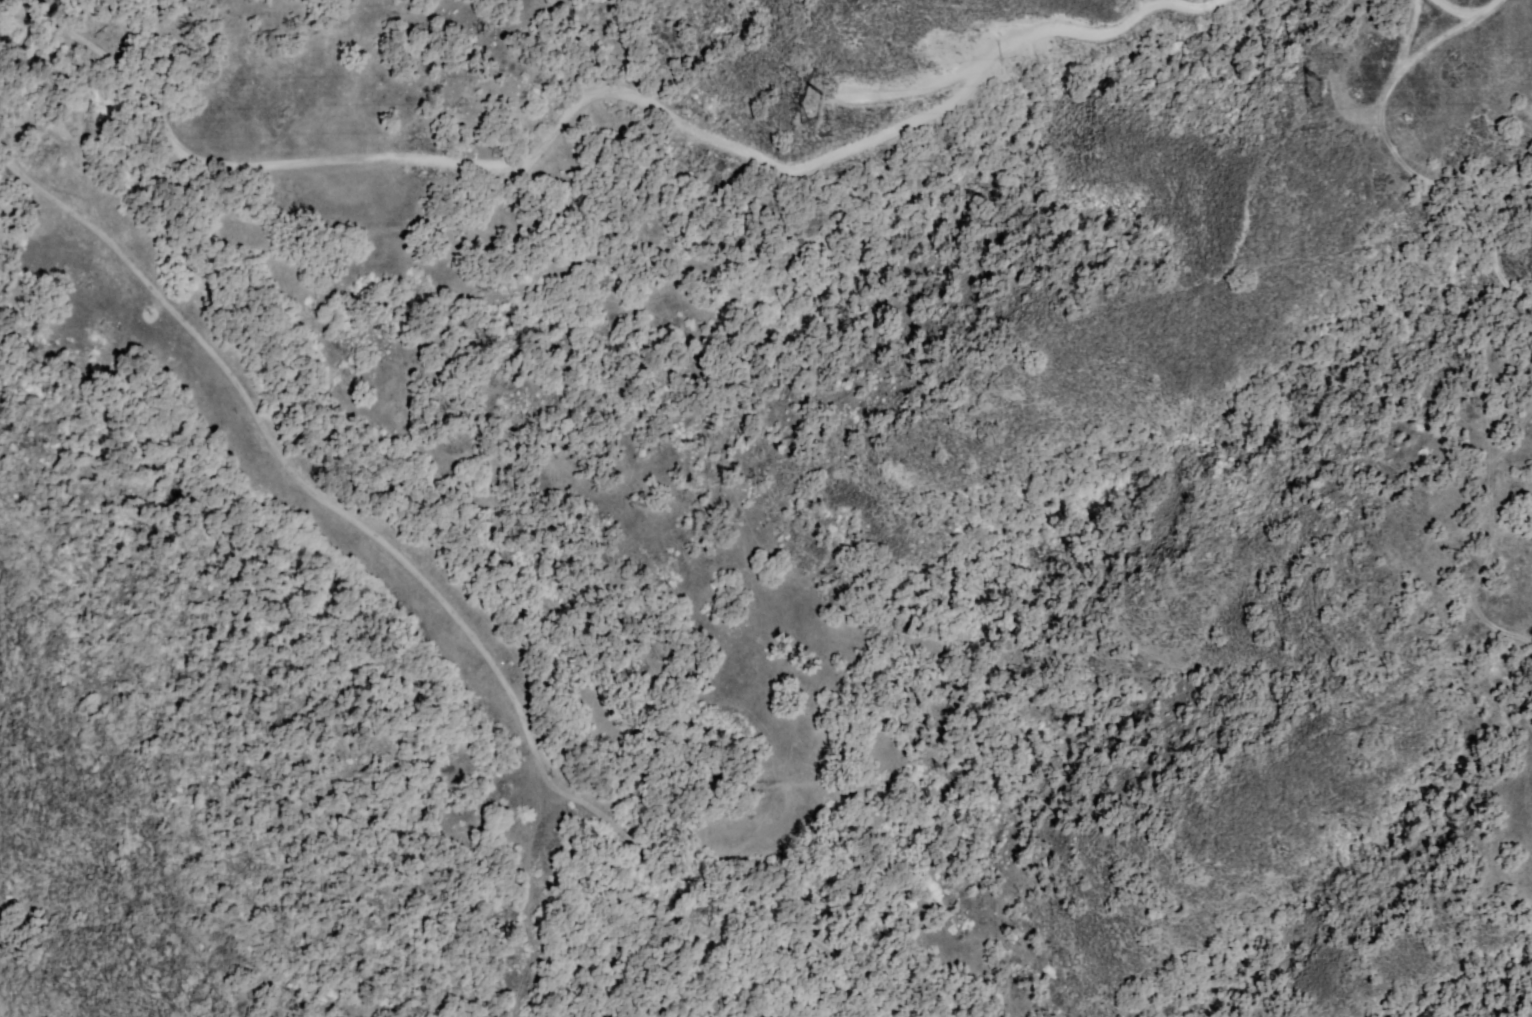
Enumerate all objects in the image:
road: (1471, 8)
road: (1049, 28)
power tower: (1311, 74)
power tower: (814, 97)
road: (439, 596)

